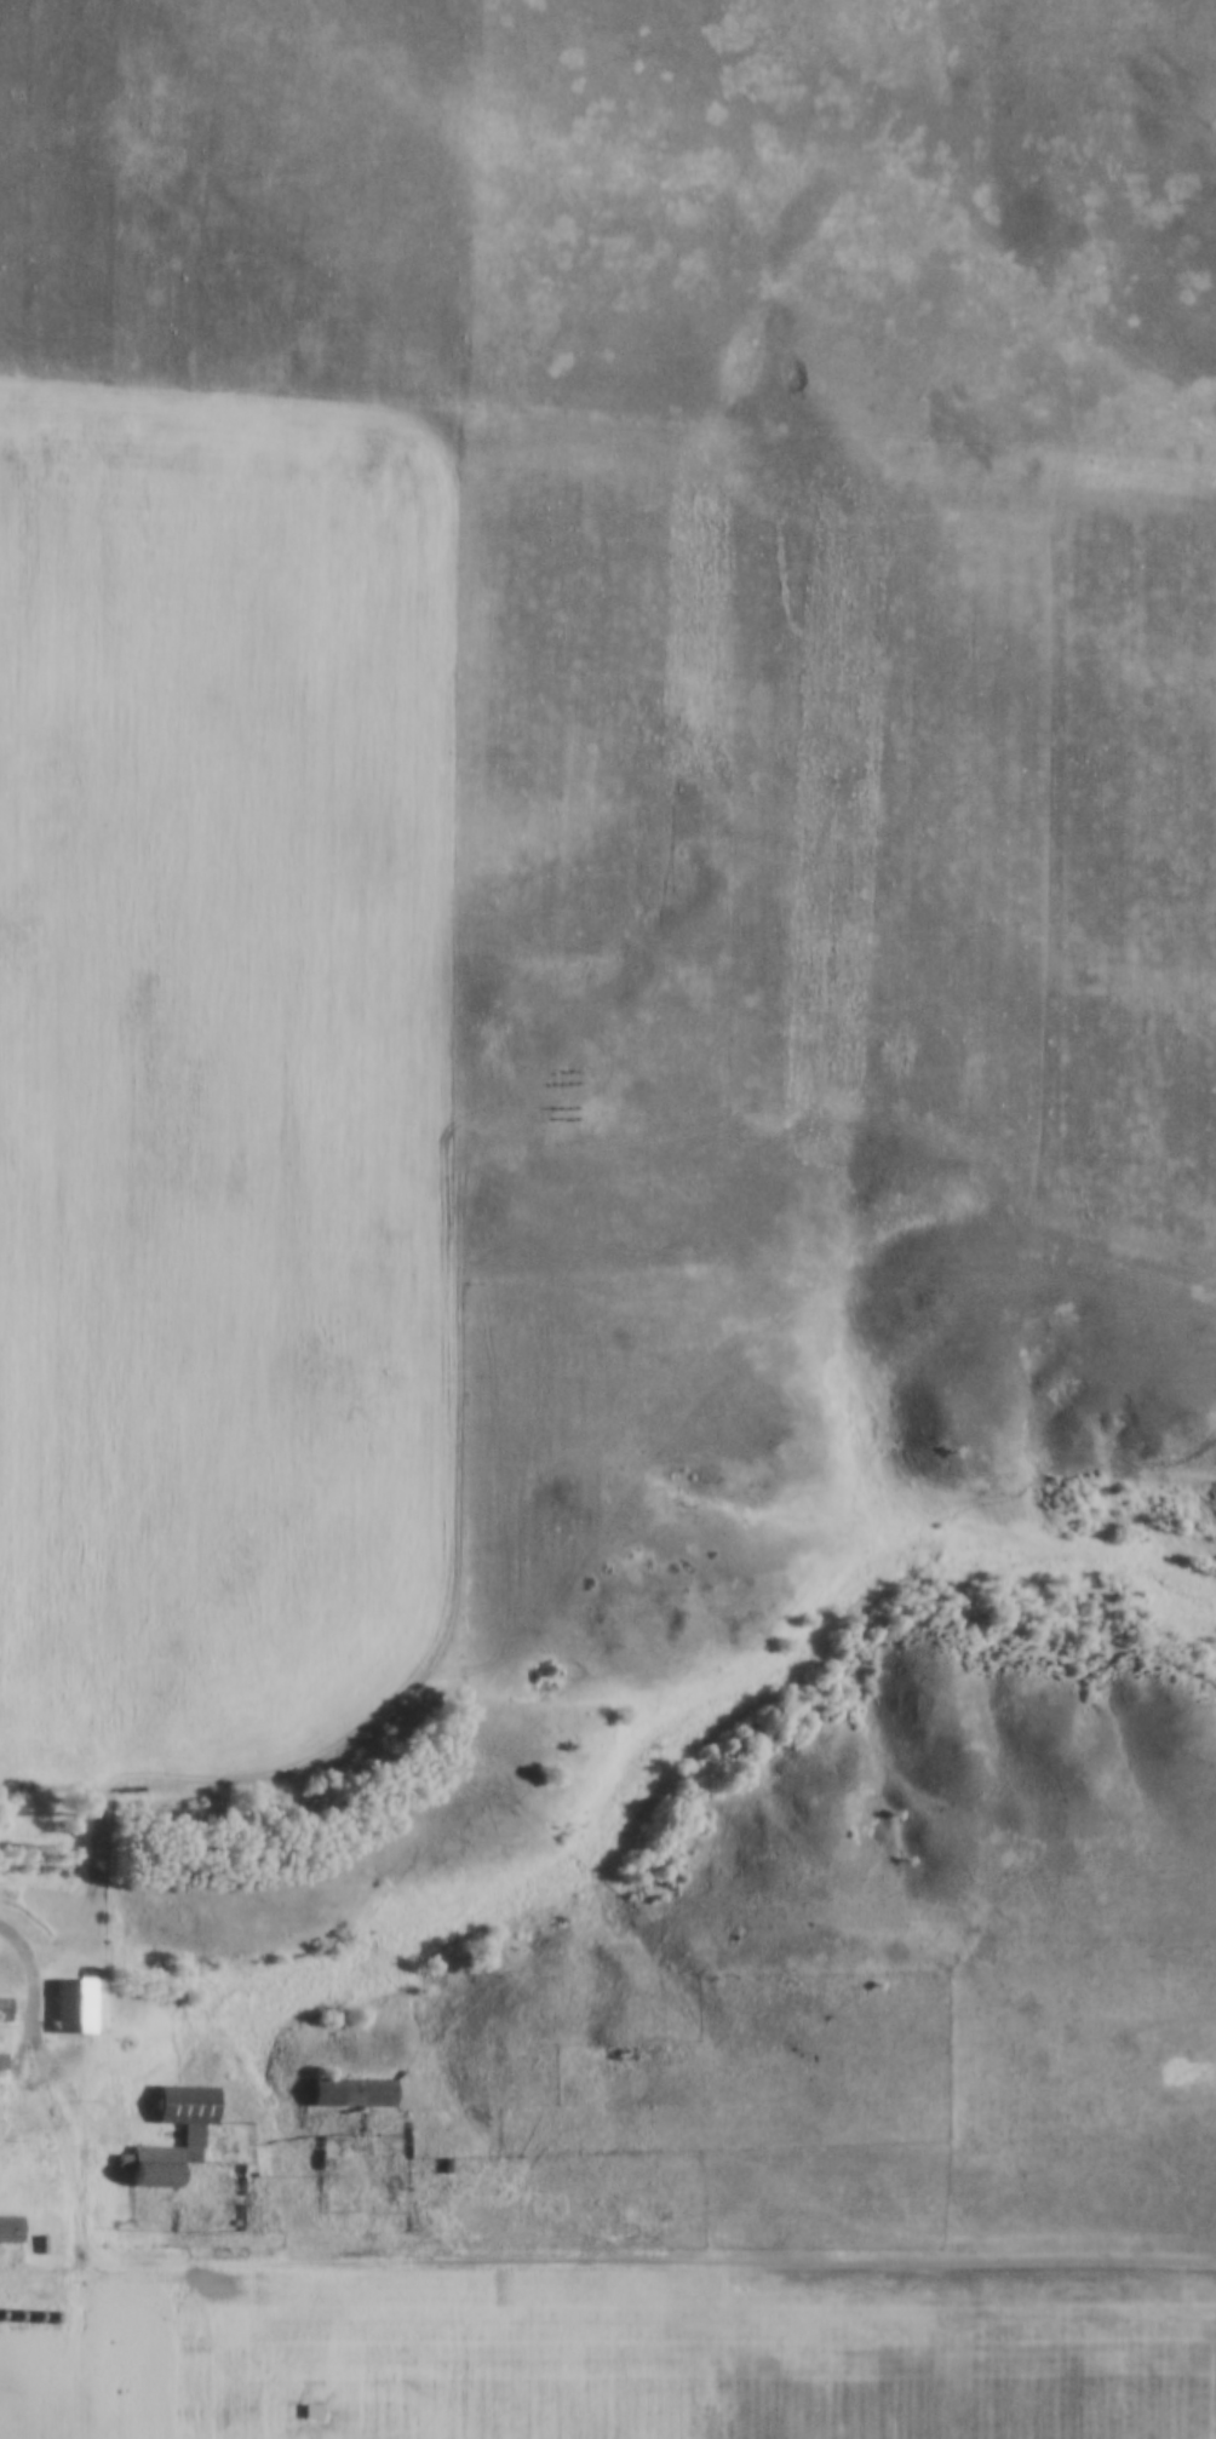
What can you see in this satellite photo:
road: (34, 1986)
building: (71, 2003)
building: (4, 2007)
building: (1, 2062)
building: (350, 2089)
building: (189, 2133)
building: (10, 2226)
road: (550, 2255)
building: (309, 2408)

